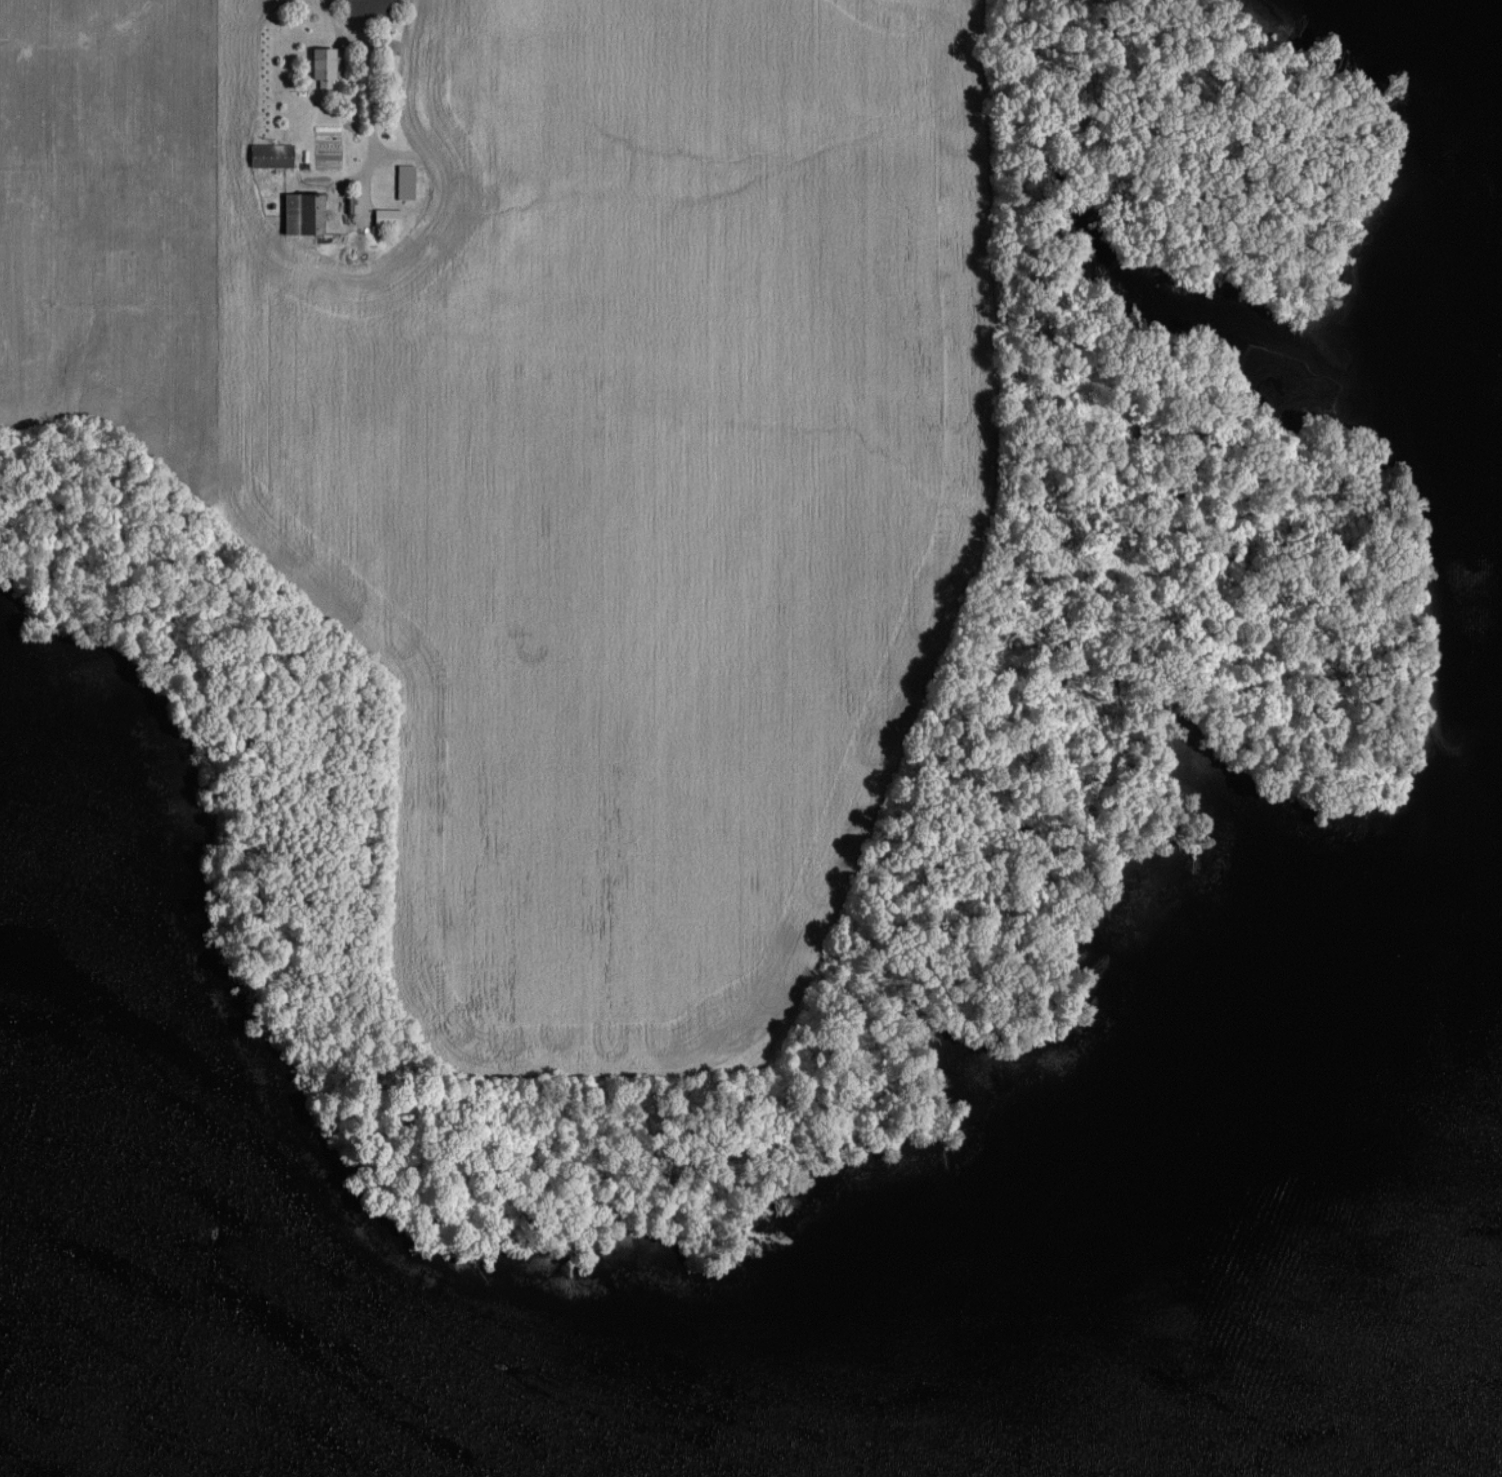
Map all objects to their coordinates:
building: (366, 7)
road: (336, 23)
building: (321, 65)
building: (269, 155)
building: (404, 181)
building: (300, 213)
building: (385, 217)
building: (309, 284)

